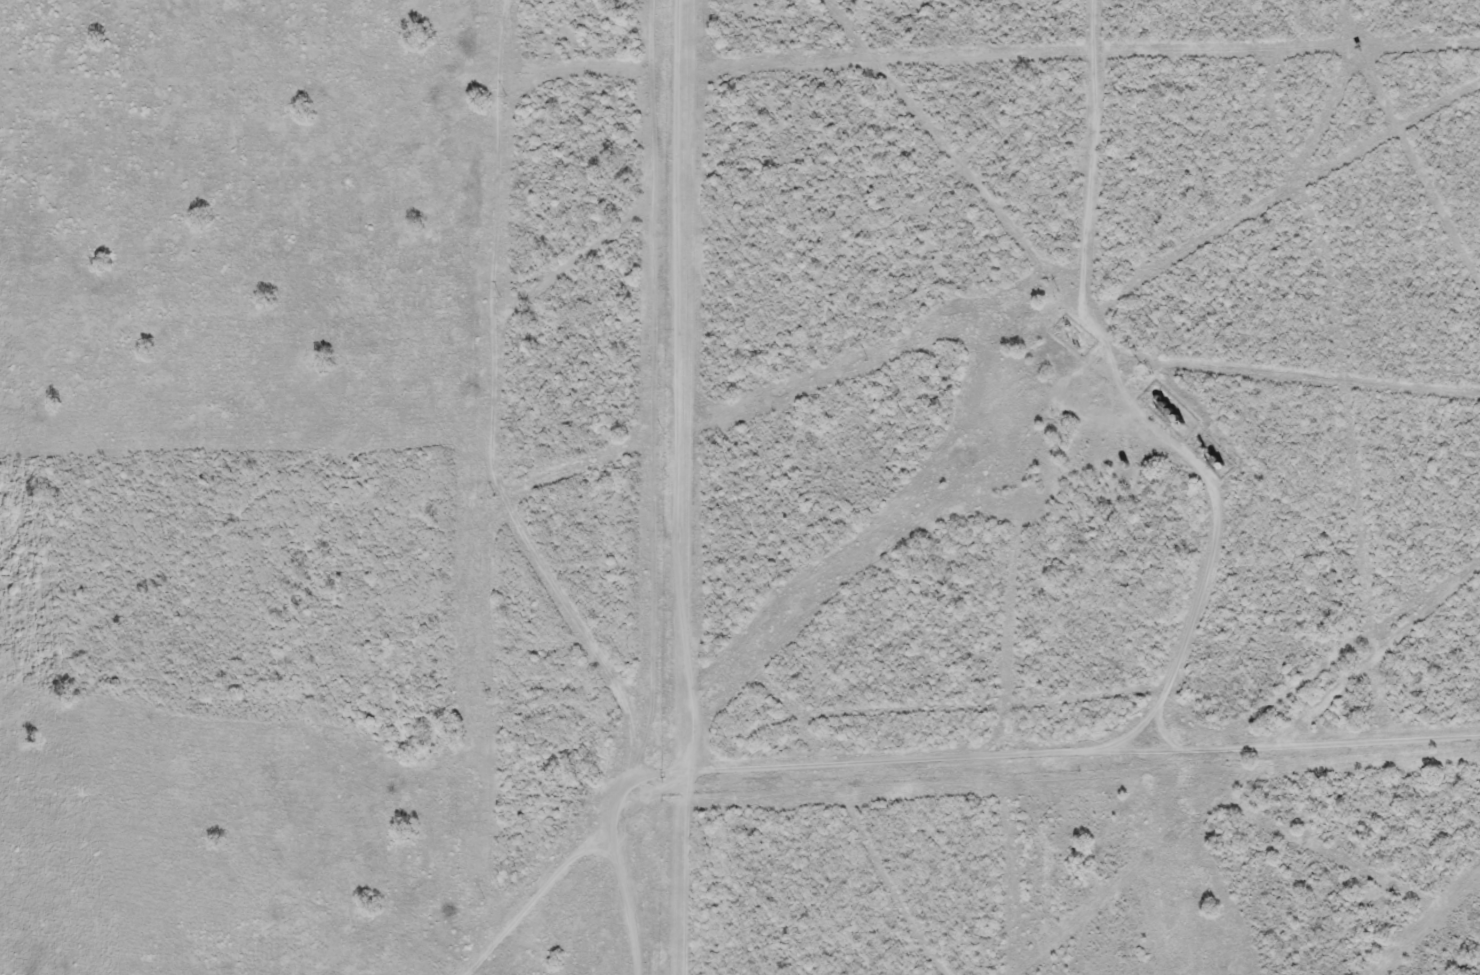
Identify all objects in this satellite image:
petroleum well: (1051, 406)

